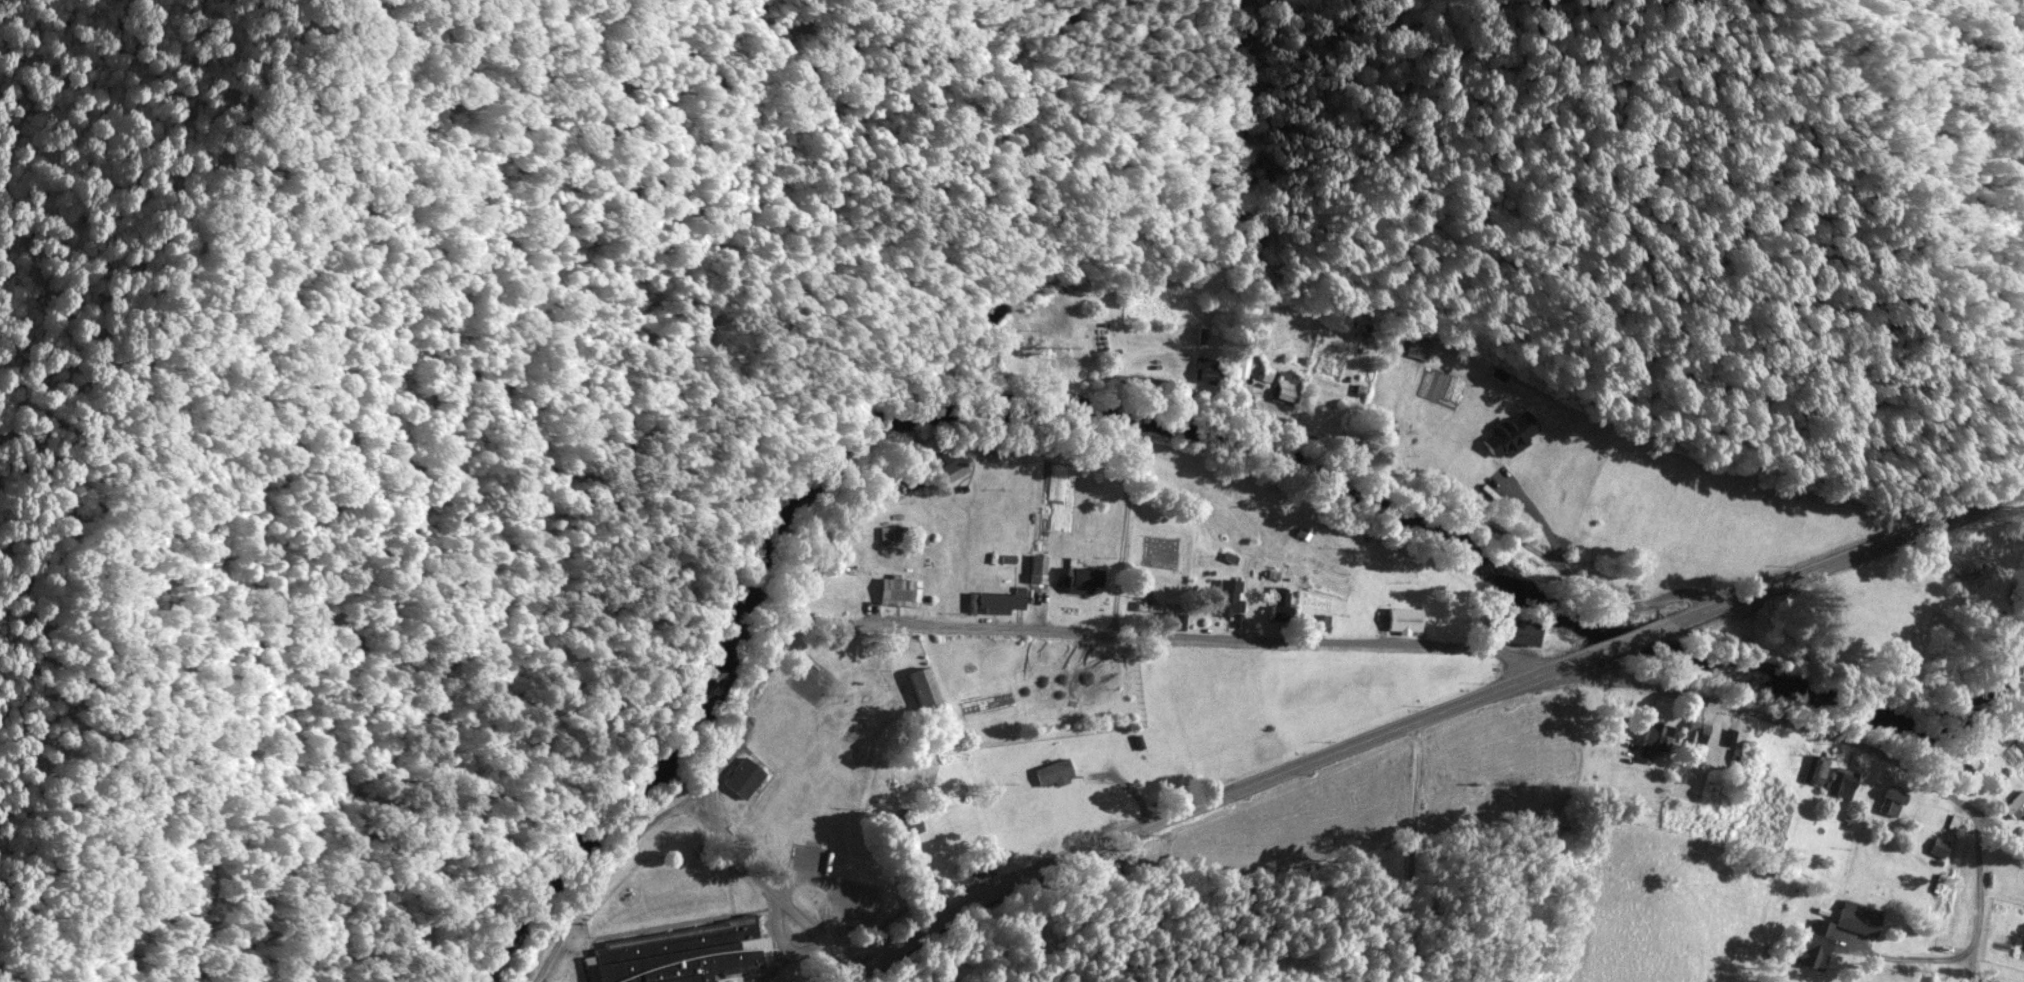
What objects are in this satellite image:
building: (1623, 500)
road: (1596, 553)
building: (1039, 563)
building: (899, 589)
building: (1231, 596)
building: (994, 600)
building: (1282, 600)
building: (1404, 618)
building: (1321, 620)
road: (1226, 656)
building: (924, 688)
road: (1412, 716)
building: (1816, 769)
building: (1054, 771)
building: (744, 776)
building: (1891, 800)
building: (2016, 807)
building: (1938, 845)
road: (1409, 852)
building: (680, 952)

